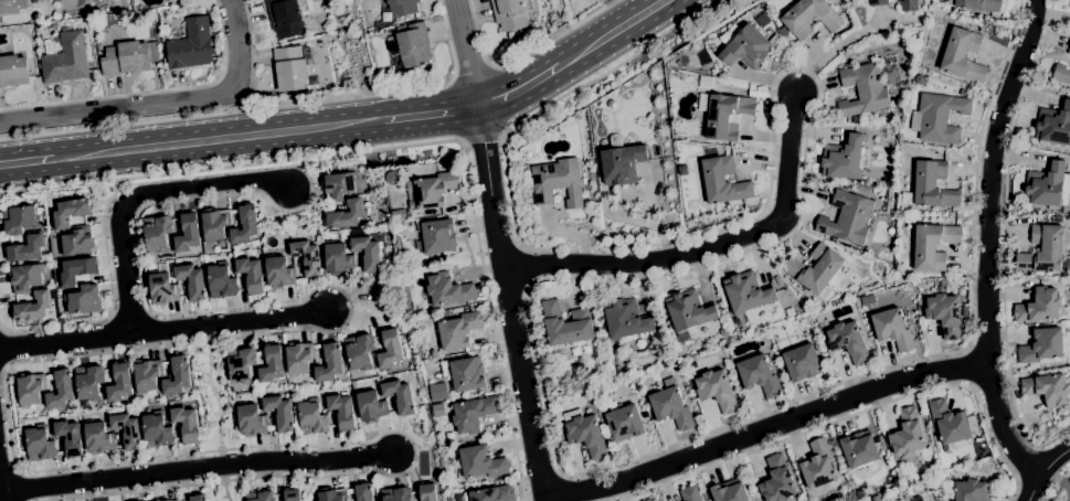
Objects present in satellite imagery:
building: (162, 0)
building: (32, 1)
building: (879, 2)
building: (977, 4)
building: (1069, 4)
building: (12, 6)
building: (908, 6)
building: (402, 7)
building: (511, 13)
building: (285, 18)
building: (809, 18)
building: (987, 18)
building: (783, 32)
road: (611, 33)
building: (516, 36)
building: (191, 45)
building: (414, 46)
building: (746, 47)
road: (834, 49)
building: (1069, 51)
road: (253, 54)
road: (465, 54)
building: (127, 55)
building: (393, 55)
building: (963, 55)
road: (526, 56)
building: (66, 60)
building: (290, 67)
building: (13, 71)
building: (1061, 74)
road: (469, 75)
building: (920, 79)
building: (972, 84)
road: (519, 89)
building: (862, 90)
road: (149, 92)
road: (390, 92)
building: (962, 93)
building: (753, 94)
road: (162, 104)
building: (612, 104)
road: (431, 115)
building: (725, 116)
building: (940, 117)
road: (123, 122)
building: (1055, 125)
road: (219, 139)
road: (481, 139)
building: (873, 140)
building: (679, 150)
building: (380, 158)
building: (845, 158)
building: (402, 160)
road: (27, 161)
building: (622, 164)
road: (208, 168)
building: (862, 177)
building: (392, 178)
building: (723, 181)
building: (557, 182)
building: (933, 184)
building: (1048, 185)
road: (56, 186)
building: (337, 186)
building: (434, 189)
road: (144, 195)
building: (70, 212)
building: (346, 215)
building: (399, 215)
building: (847, 218)
building: (19, 220)
building: (215, 224)
building: (245, 225)
building: (410, 230)
building: (157, 233)
building: (187, 234)
road: (995, 235)
building: (435, 237)
building: (78, 242)
road: (1004, 243)
building: (869, 245)
building: (933, 246)
building: (27, 248)
road: (708, 248)
building: (1042, 250)
building: (367, 254)
building: (307, 257)
building: (337, 259)
building: (177, 260)
building: (163, 268)
building: (77, 270)
building: (815, 270)
building: (278, 273)
building: (251, 274)
road: (660, 274)
building: (24, 278)
building: (191, 281)
building: (221, 281)
building: (941, 285)
building: (162, 289)
building: (448, 290)
building: (746, 294)
building: (84, 300)
building: (867, 300)
road: (511, 303)
building: (33, 307)
road: (114, 307)
building: (1041, 307)
building: (964, 311)
building: (688, 312)
building: (790, 312)
building: (444, 315)
building: (945, 315)
building: (625, 319)
building: (820, 321)
building: (565, 324)
road: (163, 328)
building: (892, 329)
building: (458, 330)
road: (263, 331)
building: (723, 332)
building: (848, 342)
building: (1041, 347)
building: (389, 350)
building: (359, 352)
building: (299, 359)
building: (802, 363)
building: (241, 364)
building: (271, 365)
building: (329, 365)
building: (467, 374)
building: (147, 375)
building: (759, 375)
building: (177, 376)
building: (89, 382)
building: (118, 383)
building: (631, 386)
building: (1047, 388)
building: (30, 390)
building: (60, 391)
building: (717, 391)
building: (438, 392)
building: (399, 396)
building: (671, 406)
building: (371, 407)
building: (341, 411)
building: (437, 411)
road: (219, 412)
building: (279, 412)
building: (473, 414)
road: (849, 416)
building: (312, 417)
building: (251, 420)
building: (186, 424)
building: (624, 424)
building: (949, 425)
road: (770, 427)
building: (127, 430)
building: (156, 430)
building: (584, 433)
building: (907, 434)
building: (449, 436)
building: (68, 437)
building: (97, 438)
building: (40, 444)
building: (859, 449)
building: (480, 463)
road: (1035, 466)
building: (818, 467)
road: (197, 470)
building: (951, 476)
road: (1055, 477)
building: (776, 480)
building: (893, 481)
road: (563, 486)
road: (1059, 487)
building: (971, 490)
building: (729, 491)
building: (363, 492)
building: (427, 492)
building: (690, 493)
building: (861, 493)
building: (331, 494)
building: (396, 494)
building: (494, 494)
building: (290, 495)
building: (261, 497)
building: (198, 498)
road: (1068, 498)
building: (918, 499)
building: (158, 500)
building: (173, 500)
building: (650, 500)

